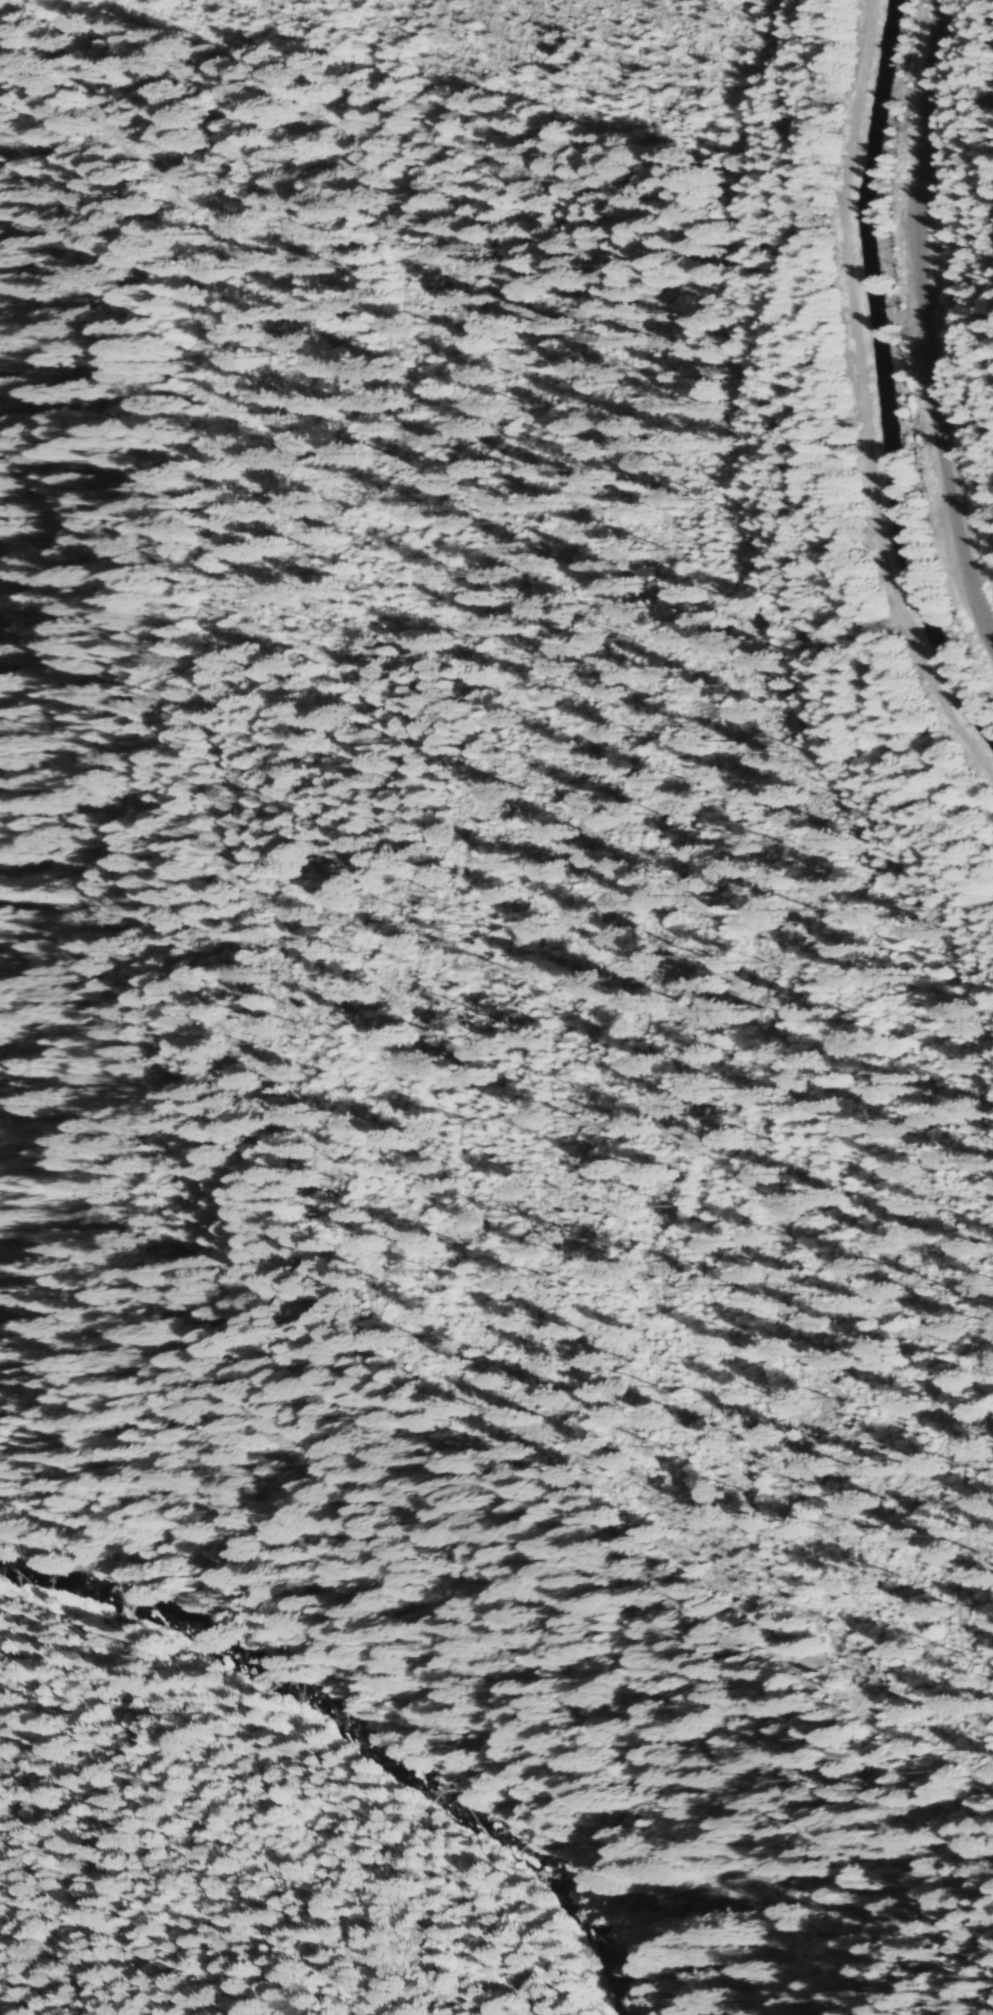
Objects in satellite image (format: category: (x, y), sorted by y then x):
road: (923, 327)
road: (863, 402)
road: (334, 1510)
river: (354, 1734)

